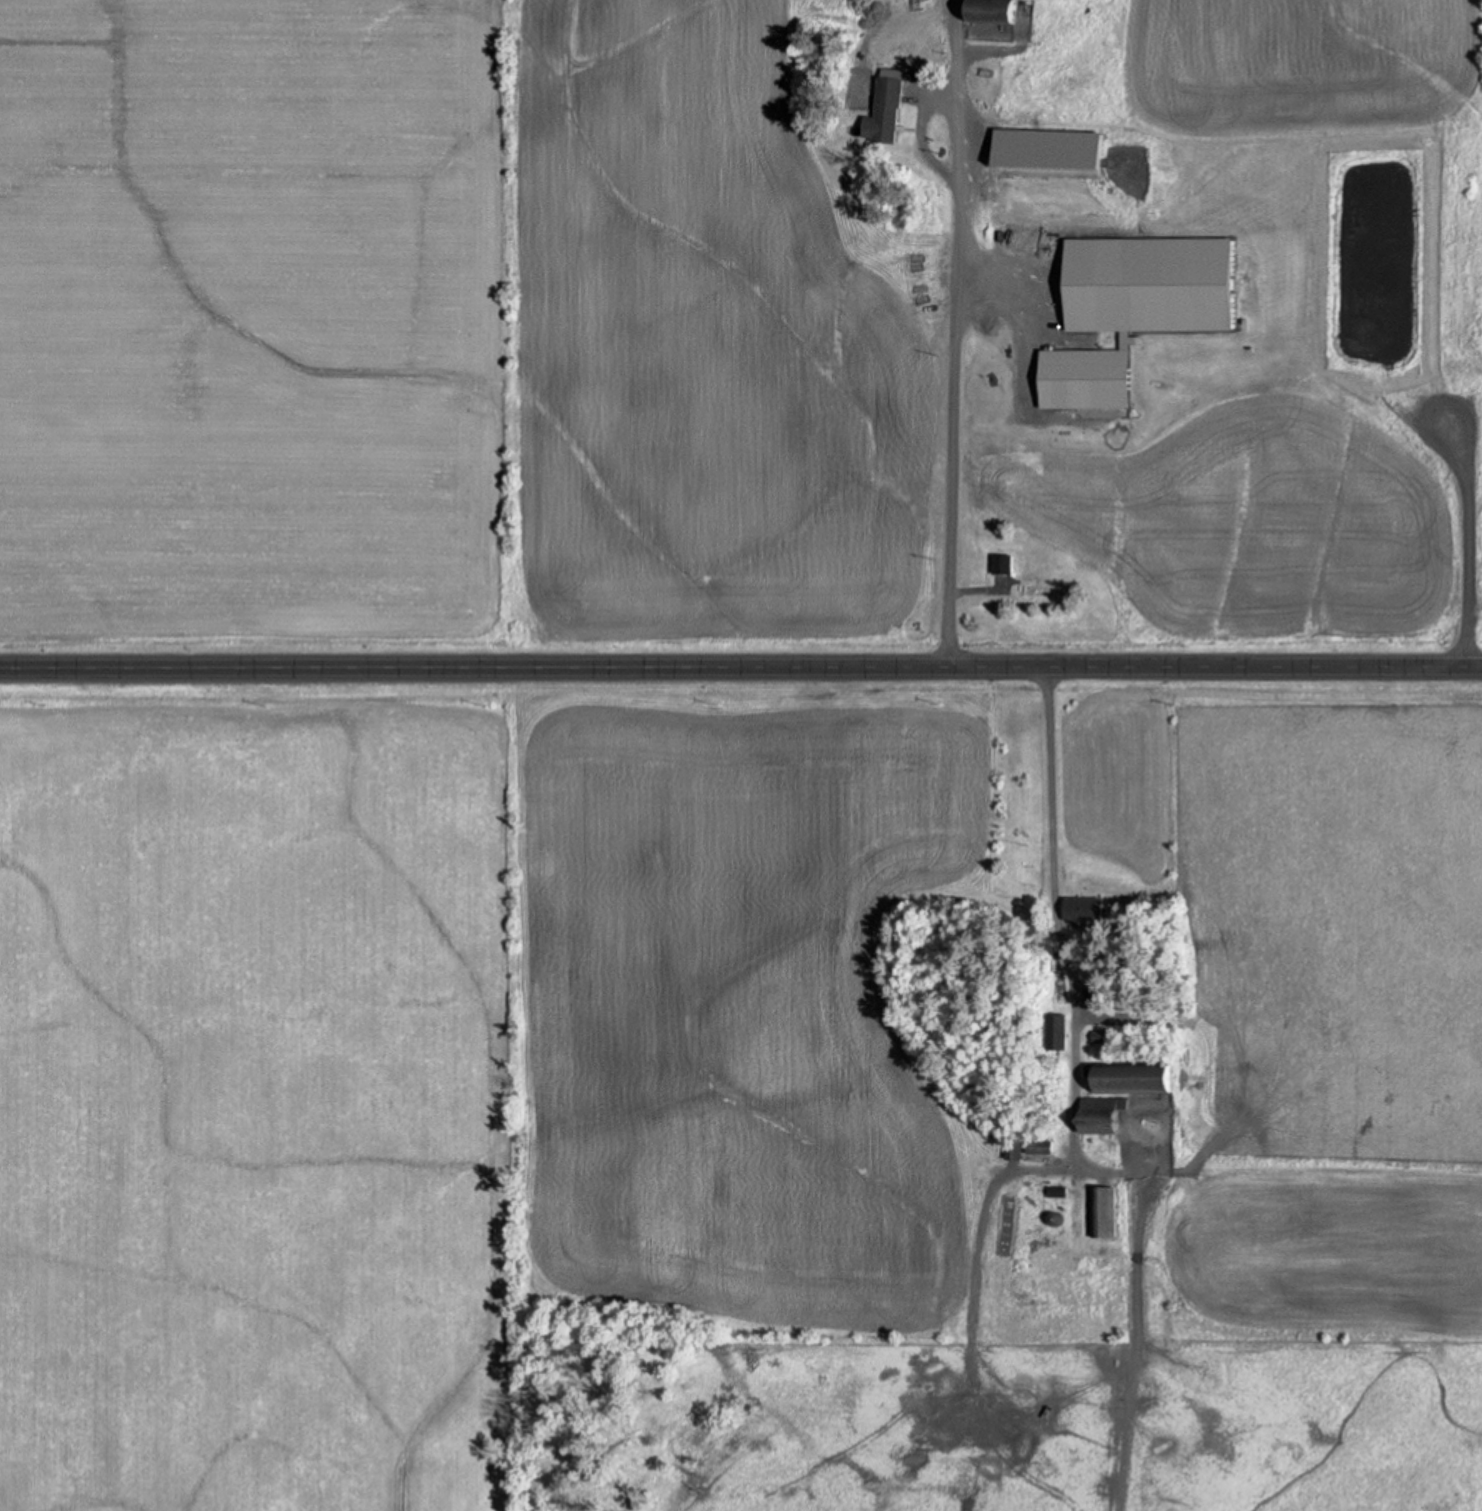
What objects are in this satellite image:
building: (996, 11)
building: (890, 110)
building: (1058, 153)
building: (1136, 308)
road: (965, 374)
building: (1004, 564)
road: (740, 671)
building: (1088, 909)
building: (1060, 1031)
building: (1135, 1077)
building: (1104, 1114)
building: (1044, 1147)
building: (1016, 1149)
building: (1060, 1190)
building: (1105, 1212)

